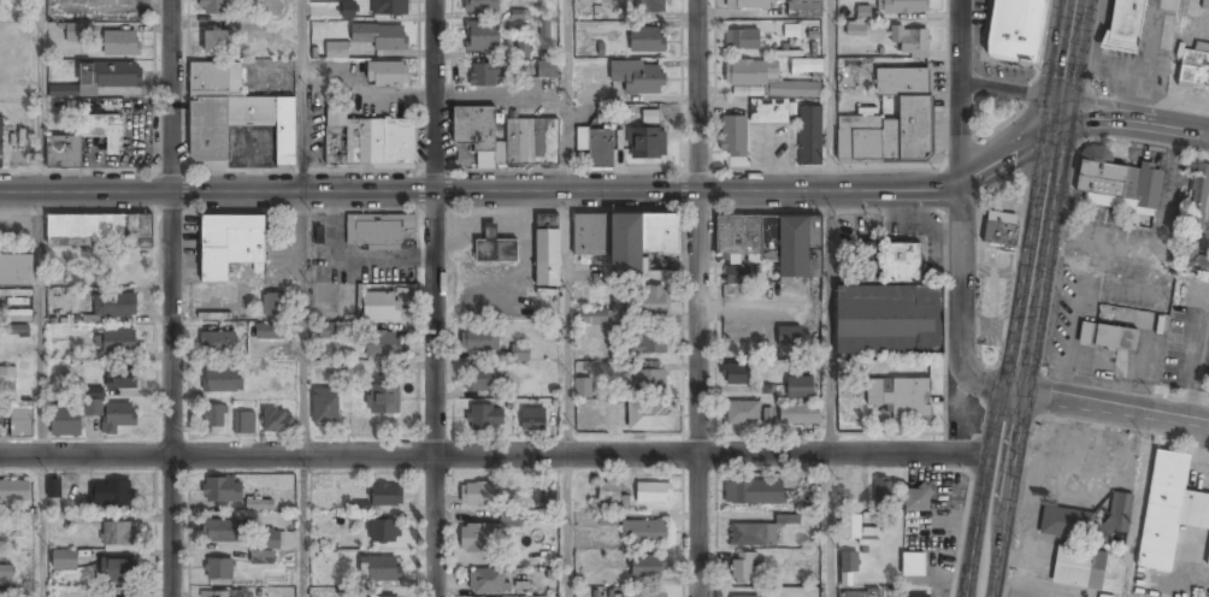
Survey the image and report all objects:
building: (747, 5)
building: (483, 6)
building: (645, 6)
building: (213, 7)
building: (390, 7)
building: (902, 7)
building: (348, 10)
building: (804, 10)
building: (866, 13)
building: (1124, 25)
building: (544, 29)
building: (857, 30)
building: (1014, 30)
building: (72, 31)
building: (802, 35)
building: (379, 37)
building: (483, 37)
building: (647, 41)
building: (742, 41)
building: (910, 43)
building: (122, 45)
building: (218, 45)
building: (336, 49)
building: (524, 52)
building: (1195, 66)
building: (807, 69)
building: (547, 71)
building: (387, 75)
building: (111, 76)
building: (486, 76)
building: (216, 79)
building: (641, 81)
building: (767, 81)
building: (61, 90)
building: (749, 90)
road: (1010, 93)
building: (252, 110)
building: (768, 113)
building: (337, 114)
building: (649, 116)
building: (890, 123)
building: (102, 124)
building: (477, 125)
traffic signals: (1057, 125)
building: (208, 128)
building: (285, 129)
building: (809, 137)
building: (514, 138)
building: (735, 138)
building: (359, 140)
building: (394, 140)
building: (529, 140)
building: (548, 140)
building: (1, 143)
parking lot: (252, 143)
building: (336, 143)
building: (648, 144)
building: (596, 148)
building: (65, 149)
building: (502, 150)
building: (485, 159)
building: (1116, 182)
road: (612, 191)
road: (962, 211)
building: (1195, 221)
building: (998, 227)
building: (379, 230)
building: (98, 231)
building: (592, 232)
building: (642, 238)
building: (769, 242)
building: (229, 246)
building: (497, 255)
building: (548, 259)
building: (117, 270)
building: (17, 272)
building: (736, 276)
road: (42, 297)
road: (170, 297)
road: (305, 297)
road: (434, 297)
road: (697, 297)
road: (831, 297)
road: (1026, 297)
road: (568, 298)
building: (647, 303)
building: (272, 306)
building: (116, 307)
building: (382, 307)
building: (891, 312)
building: (16, 314)
building: (590, 318)
building: (335, 331)
building: (270, 332)
building: (1085, 333)
building: (1115, 337)
building: (789, 338)
building: (479, 341)
building: (117, 342)
building: (217, 343)
building: (650, 344)
building: (382, 345)
building: (520, 354)
building: (736, 376)
building: (120, 379)
building: (222, 382)
building: (482, 382)
building: (649, 382)
building: (763, 389)
building: (800, 389)
building: (583, 390)
building: (901, 398)
building: (384, 400)
building: (92, 401)
building: (325, 408)
road: (1109, 409)
building: (113, 415)
building: (742, 415)
building: (798, 416)
building: (213, 418)
building: (20, 420)
building: (486, 420)
building: (532, 420)
building: (649, 420)
building: (66, 421)
building: (277, 422)
building: (243, 424)
road: (501, 454)
building: (53, 487)
building: (223, 491)
building: (14, 492)
building: (886, 492)
building: (754, 493)
building: (112, 495)
building: (387, 496)
building: (478, 496)
building: (635, 501)
building: (918, 501)
building: (259, 504)
road: (1139, 507)
building: (1169, 510)
building: (81, 518)
building: (607, 519)
building: (1089, 522)
building: (861, 526)
building: (222, 532)
building: (383, 532)
building: (644, 533)
building: (118, 536)
building: (753, 537)
building: (480, 539)
building: (266, 548)
building: (65, 562)
building: (1208, 563)
building: (913, 565)
building: (1078, 567)
building: (648, 568)
building: (848, 568)
building: (743, 569)
building: (117, 571)
building: (218, 571)
building: (379, 571)
building: (6, 574)
building: (488, 583)
building: (219, 595)
building: (859, 595)
building: (387, 596)
building: (644, 596)
building: (747, 596)
building: (915, 596)

